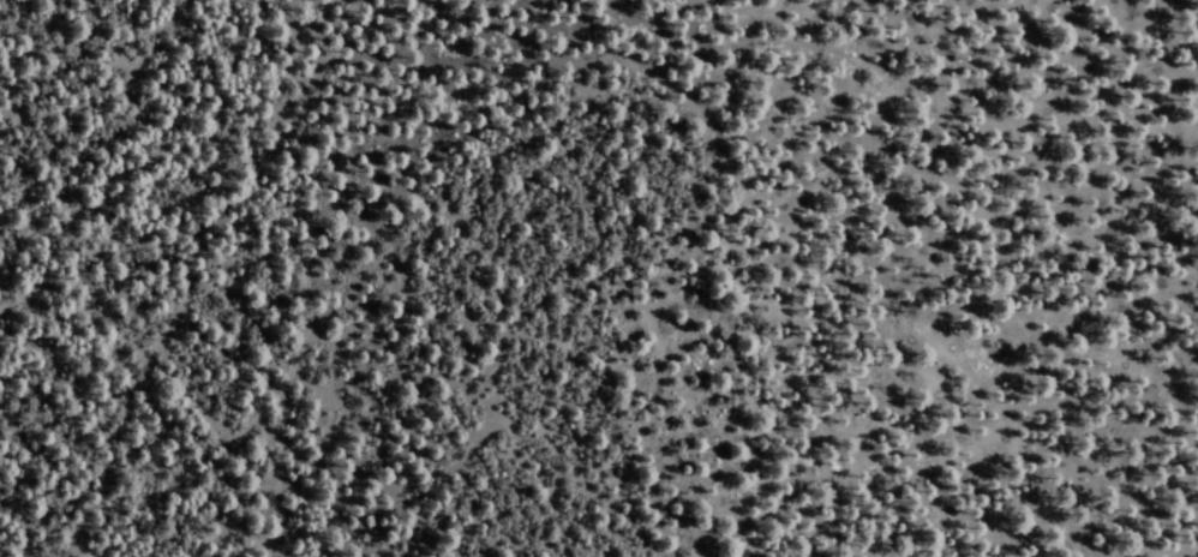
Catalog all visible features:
road: (1097, 85)

